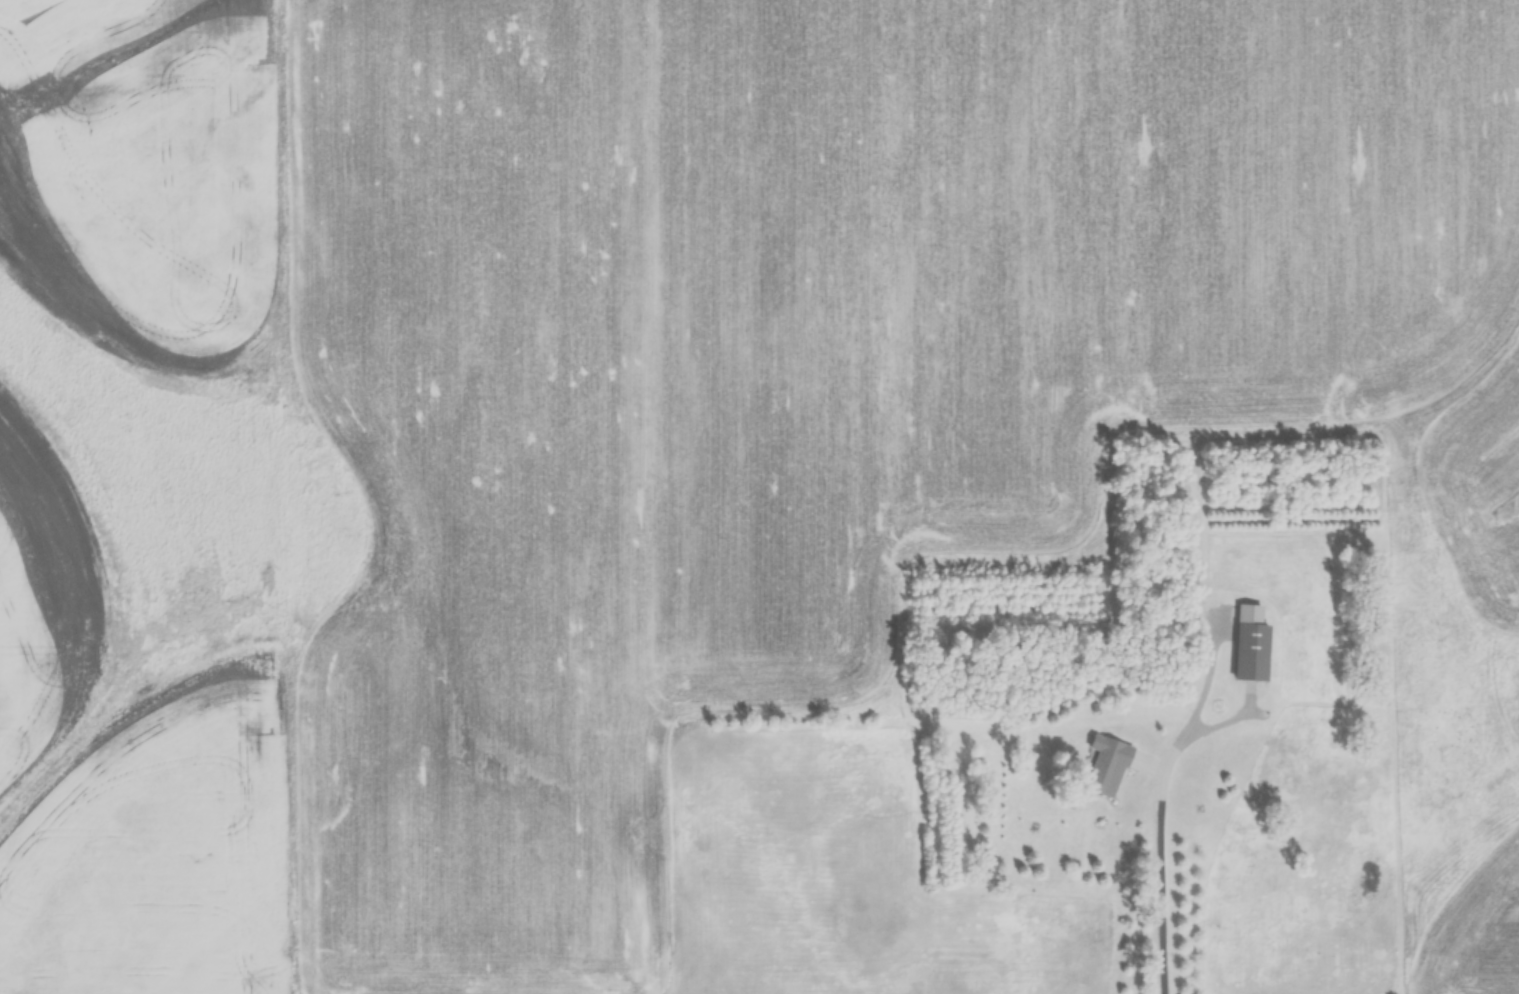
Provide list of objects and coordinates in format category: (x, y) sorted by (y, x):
building: (1249, 652)
building: (1105, 766)
road: (1163, 877)

